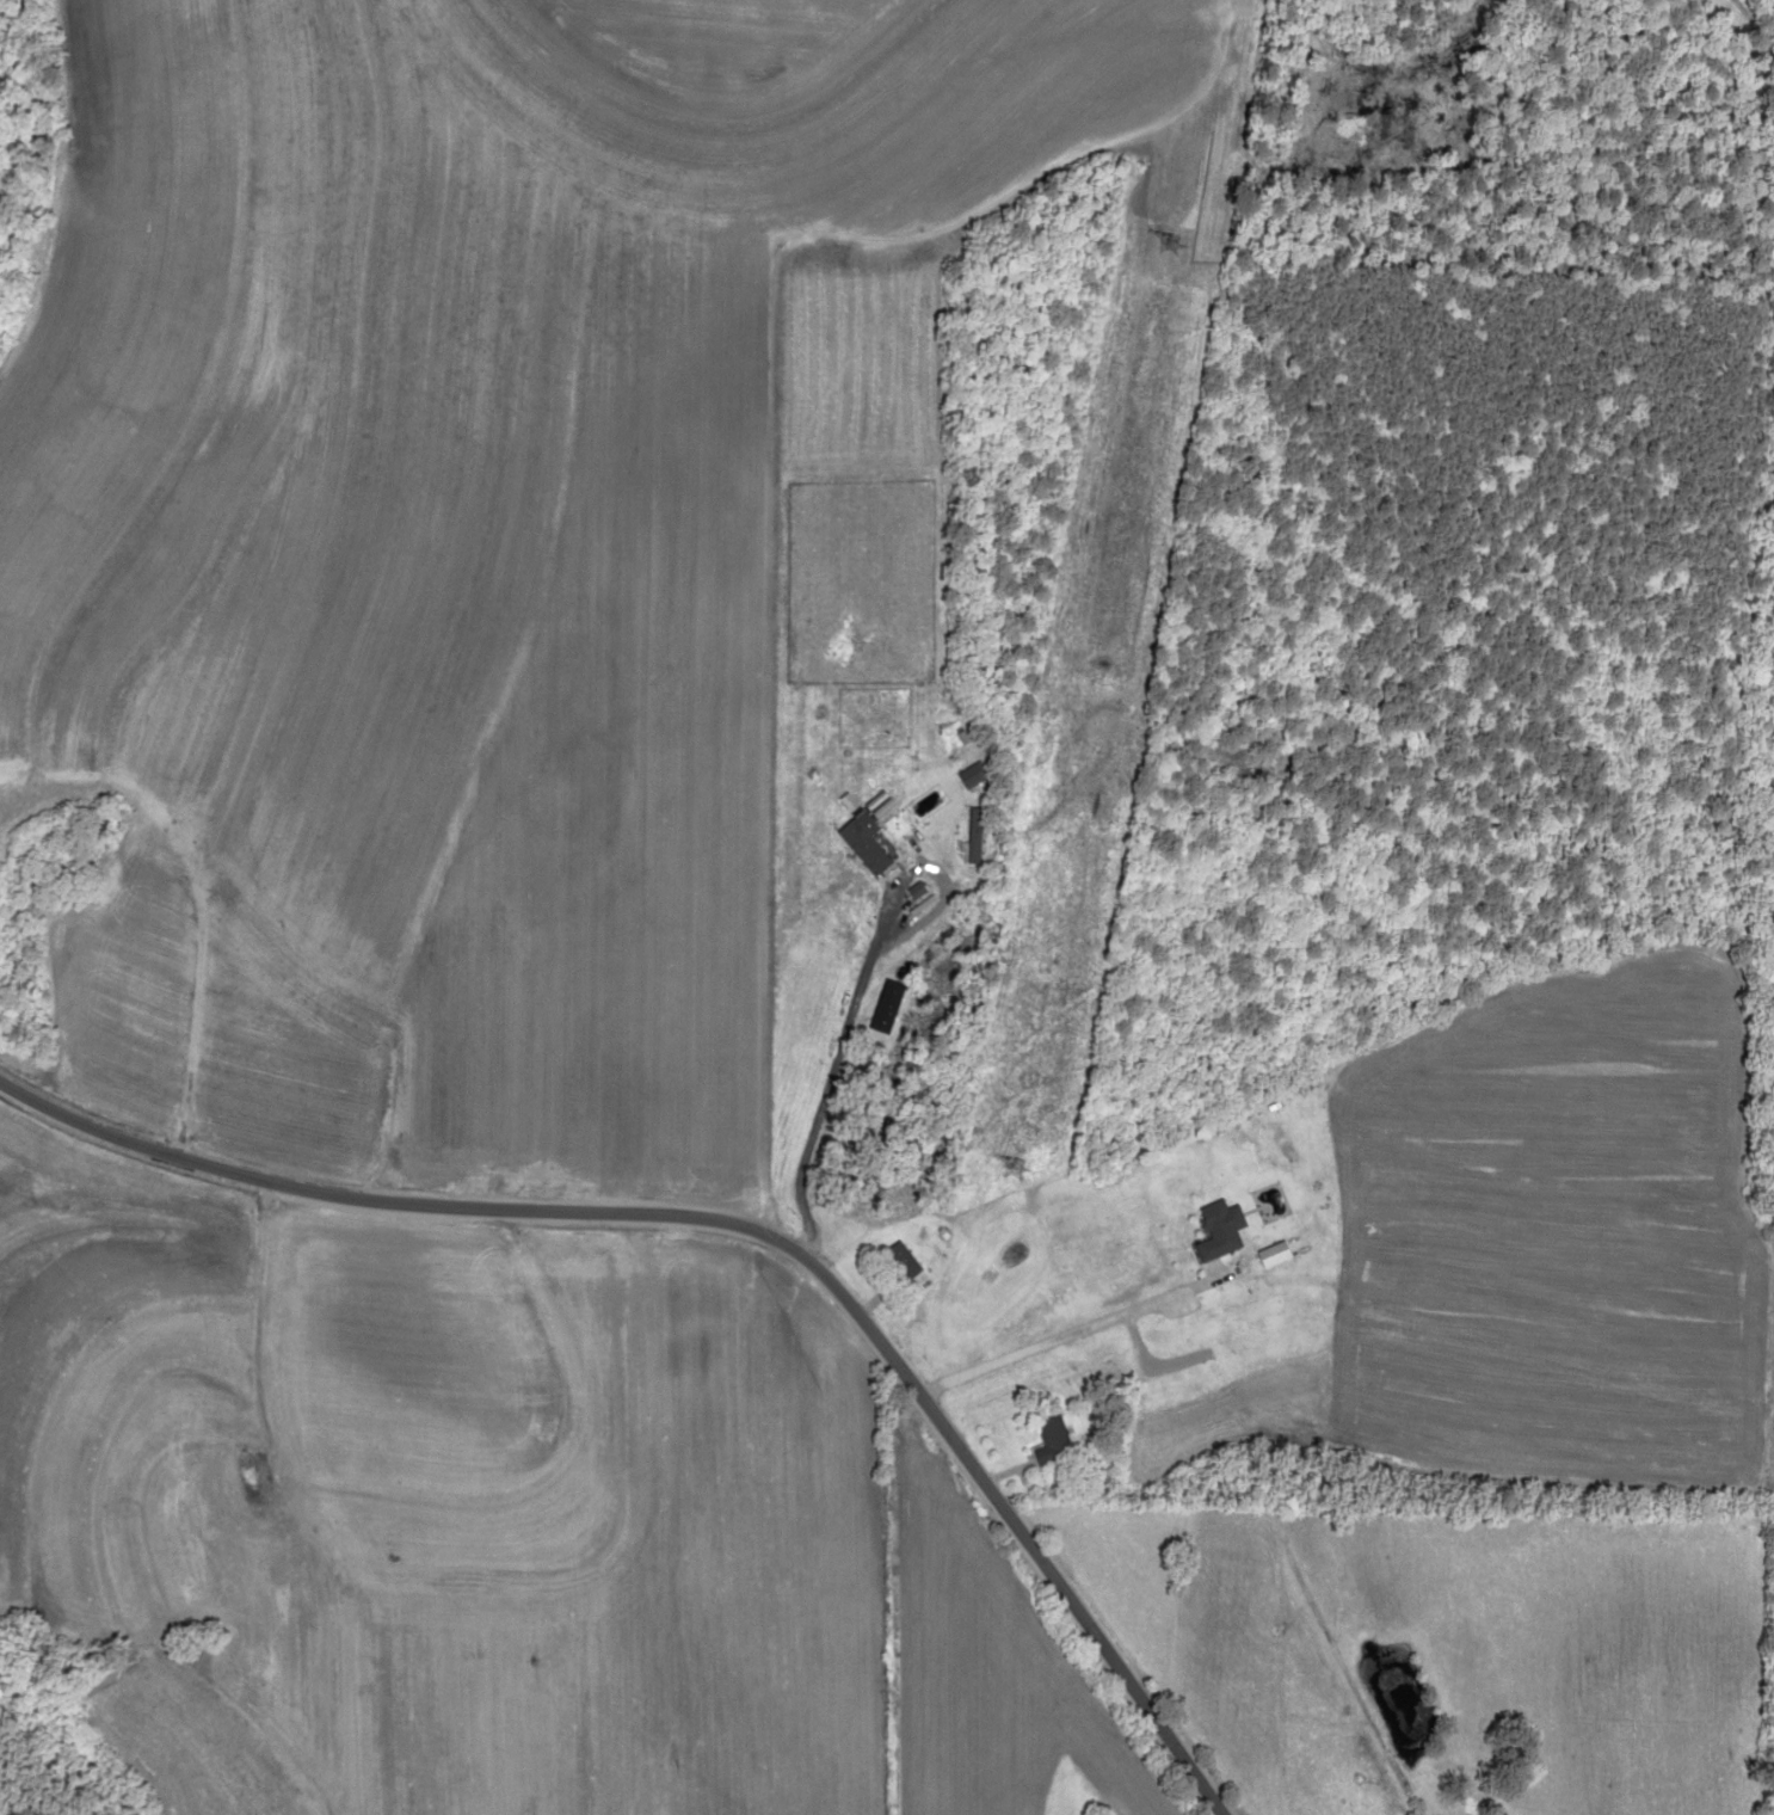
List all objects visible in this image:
road: (754, 1233)
building: (899, 1263)
power tower: (961, 1423)
building: (1052, 1442)
road: (294, 1503)

